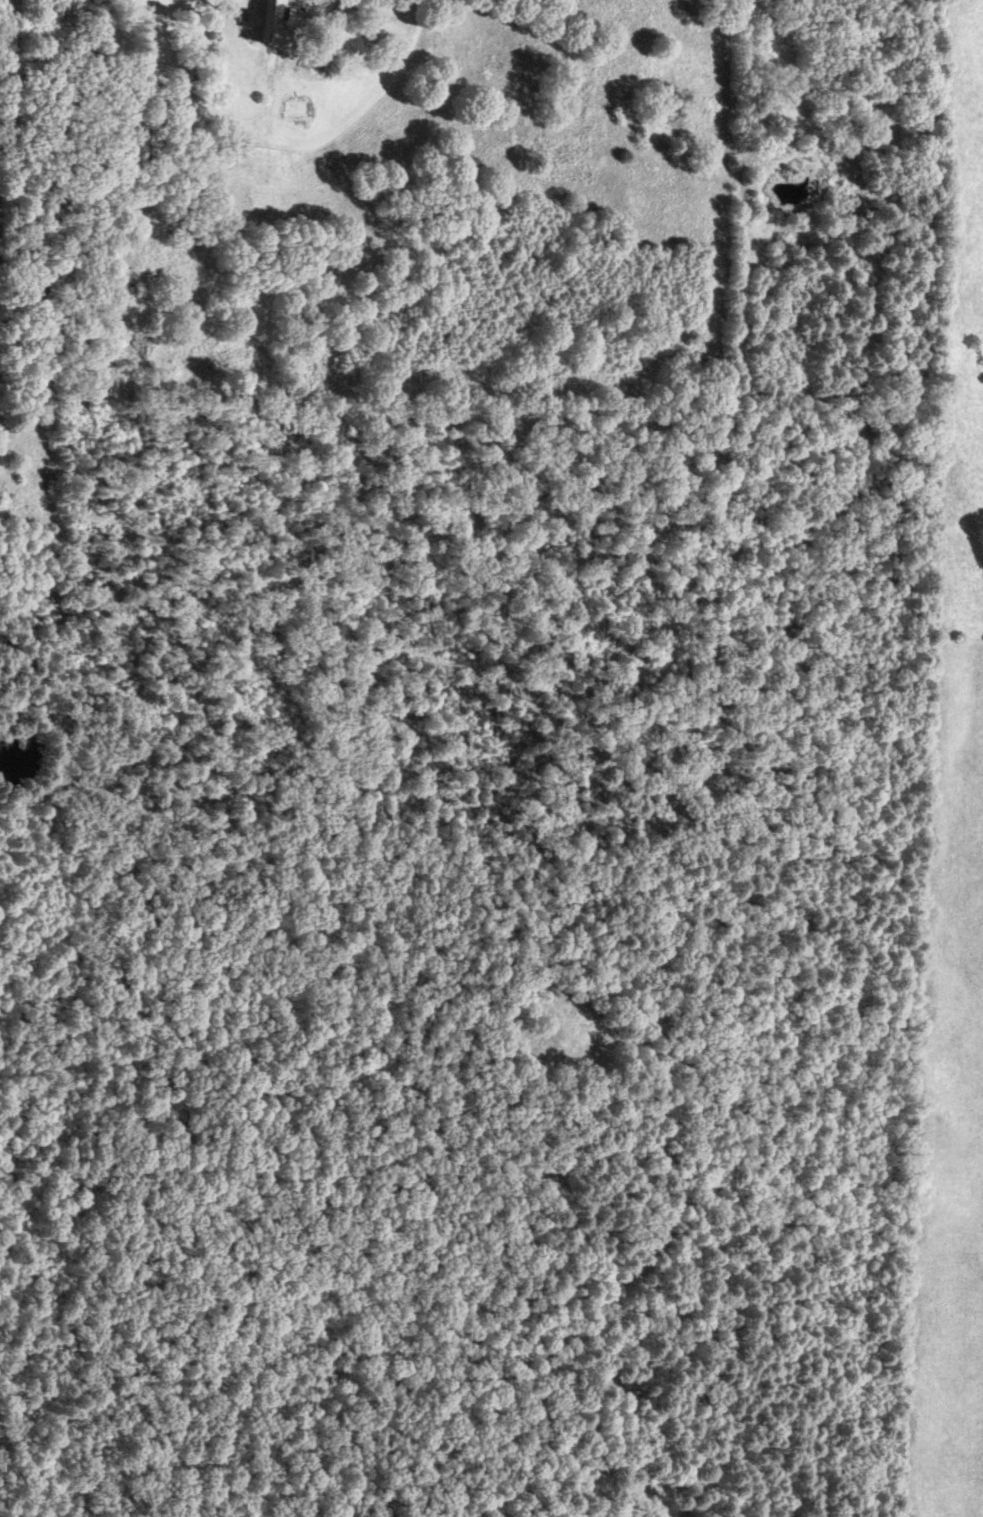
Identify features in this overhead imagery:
building: (263, 20)

